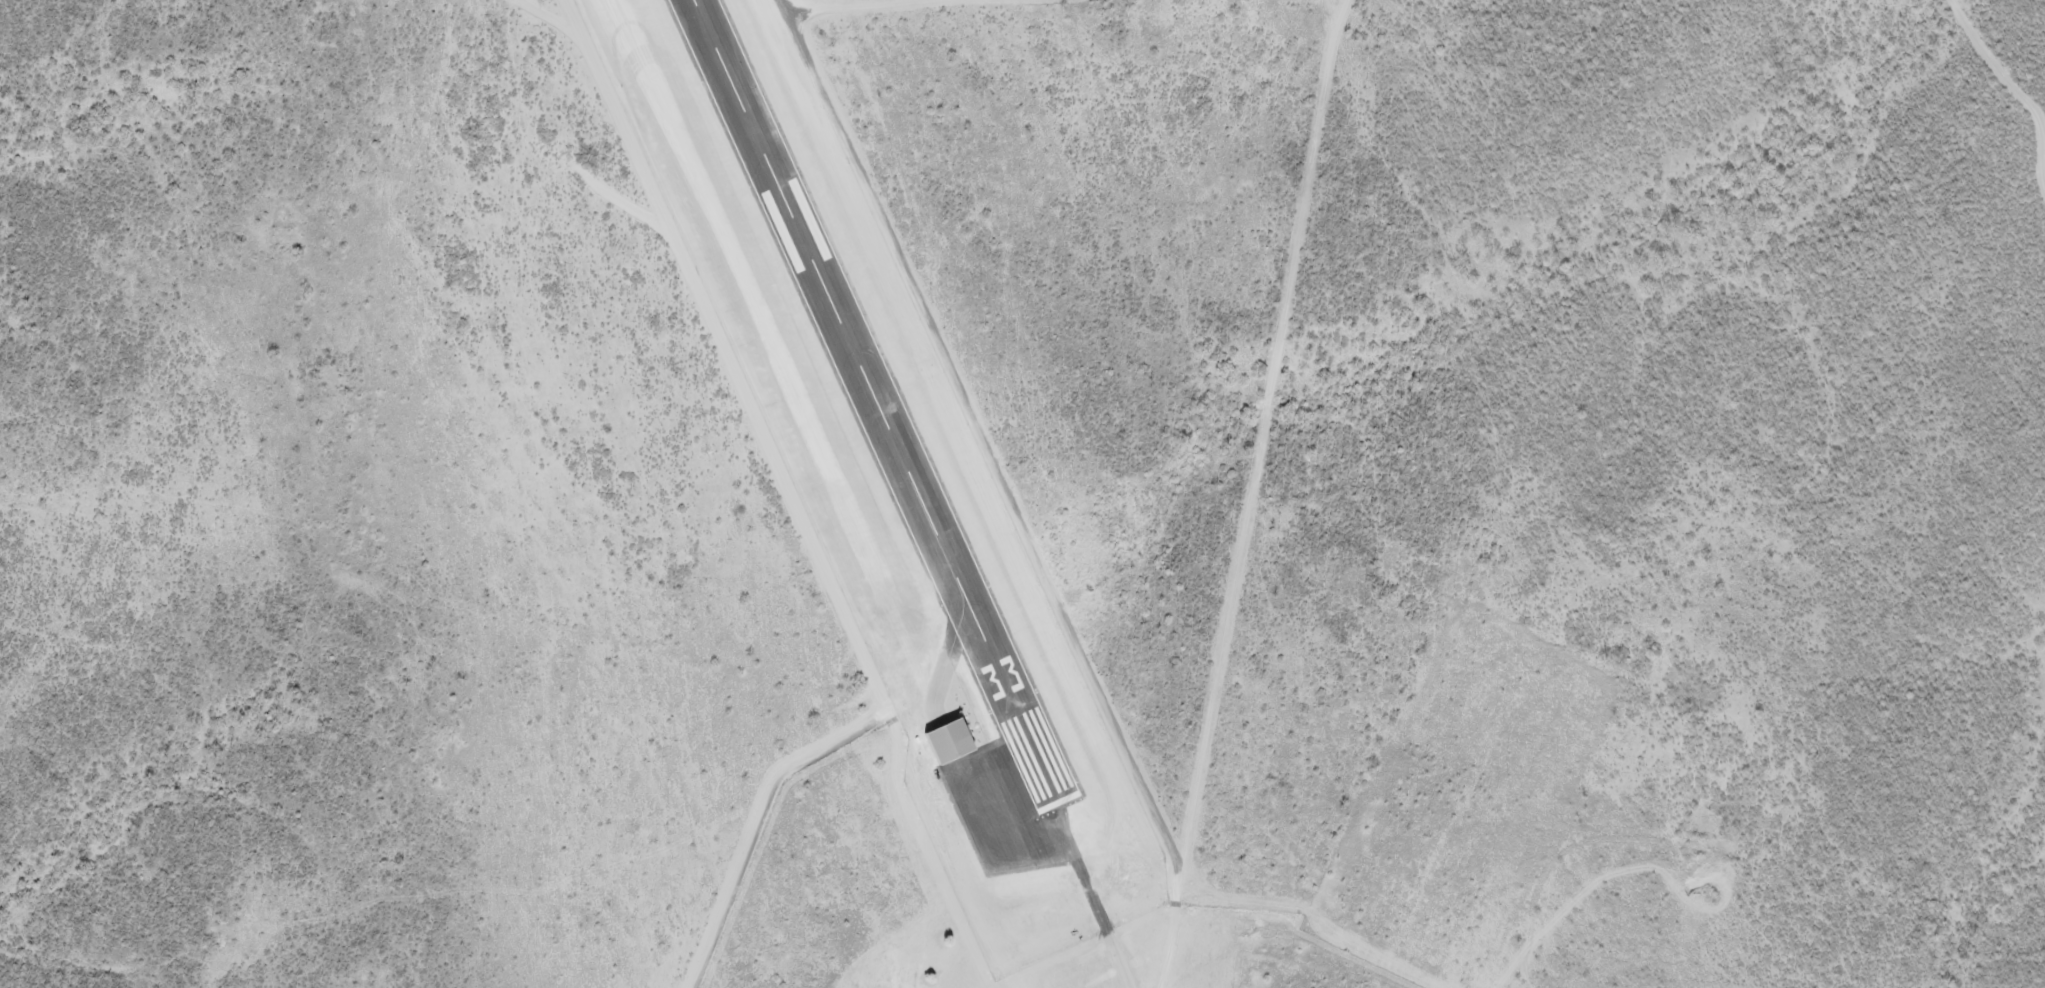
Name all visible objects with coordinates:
road: (2014, 88)
airport runway: (870, 403)
road: (976, 443)
road: (1253, 493)
airport hangar: (943, 738)
building: (943, 738)
road: (974, 917)

